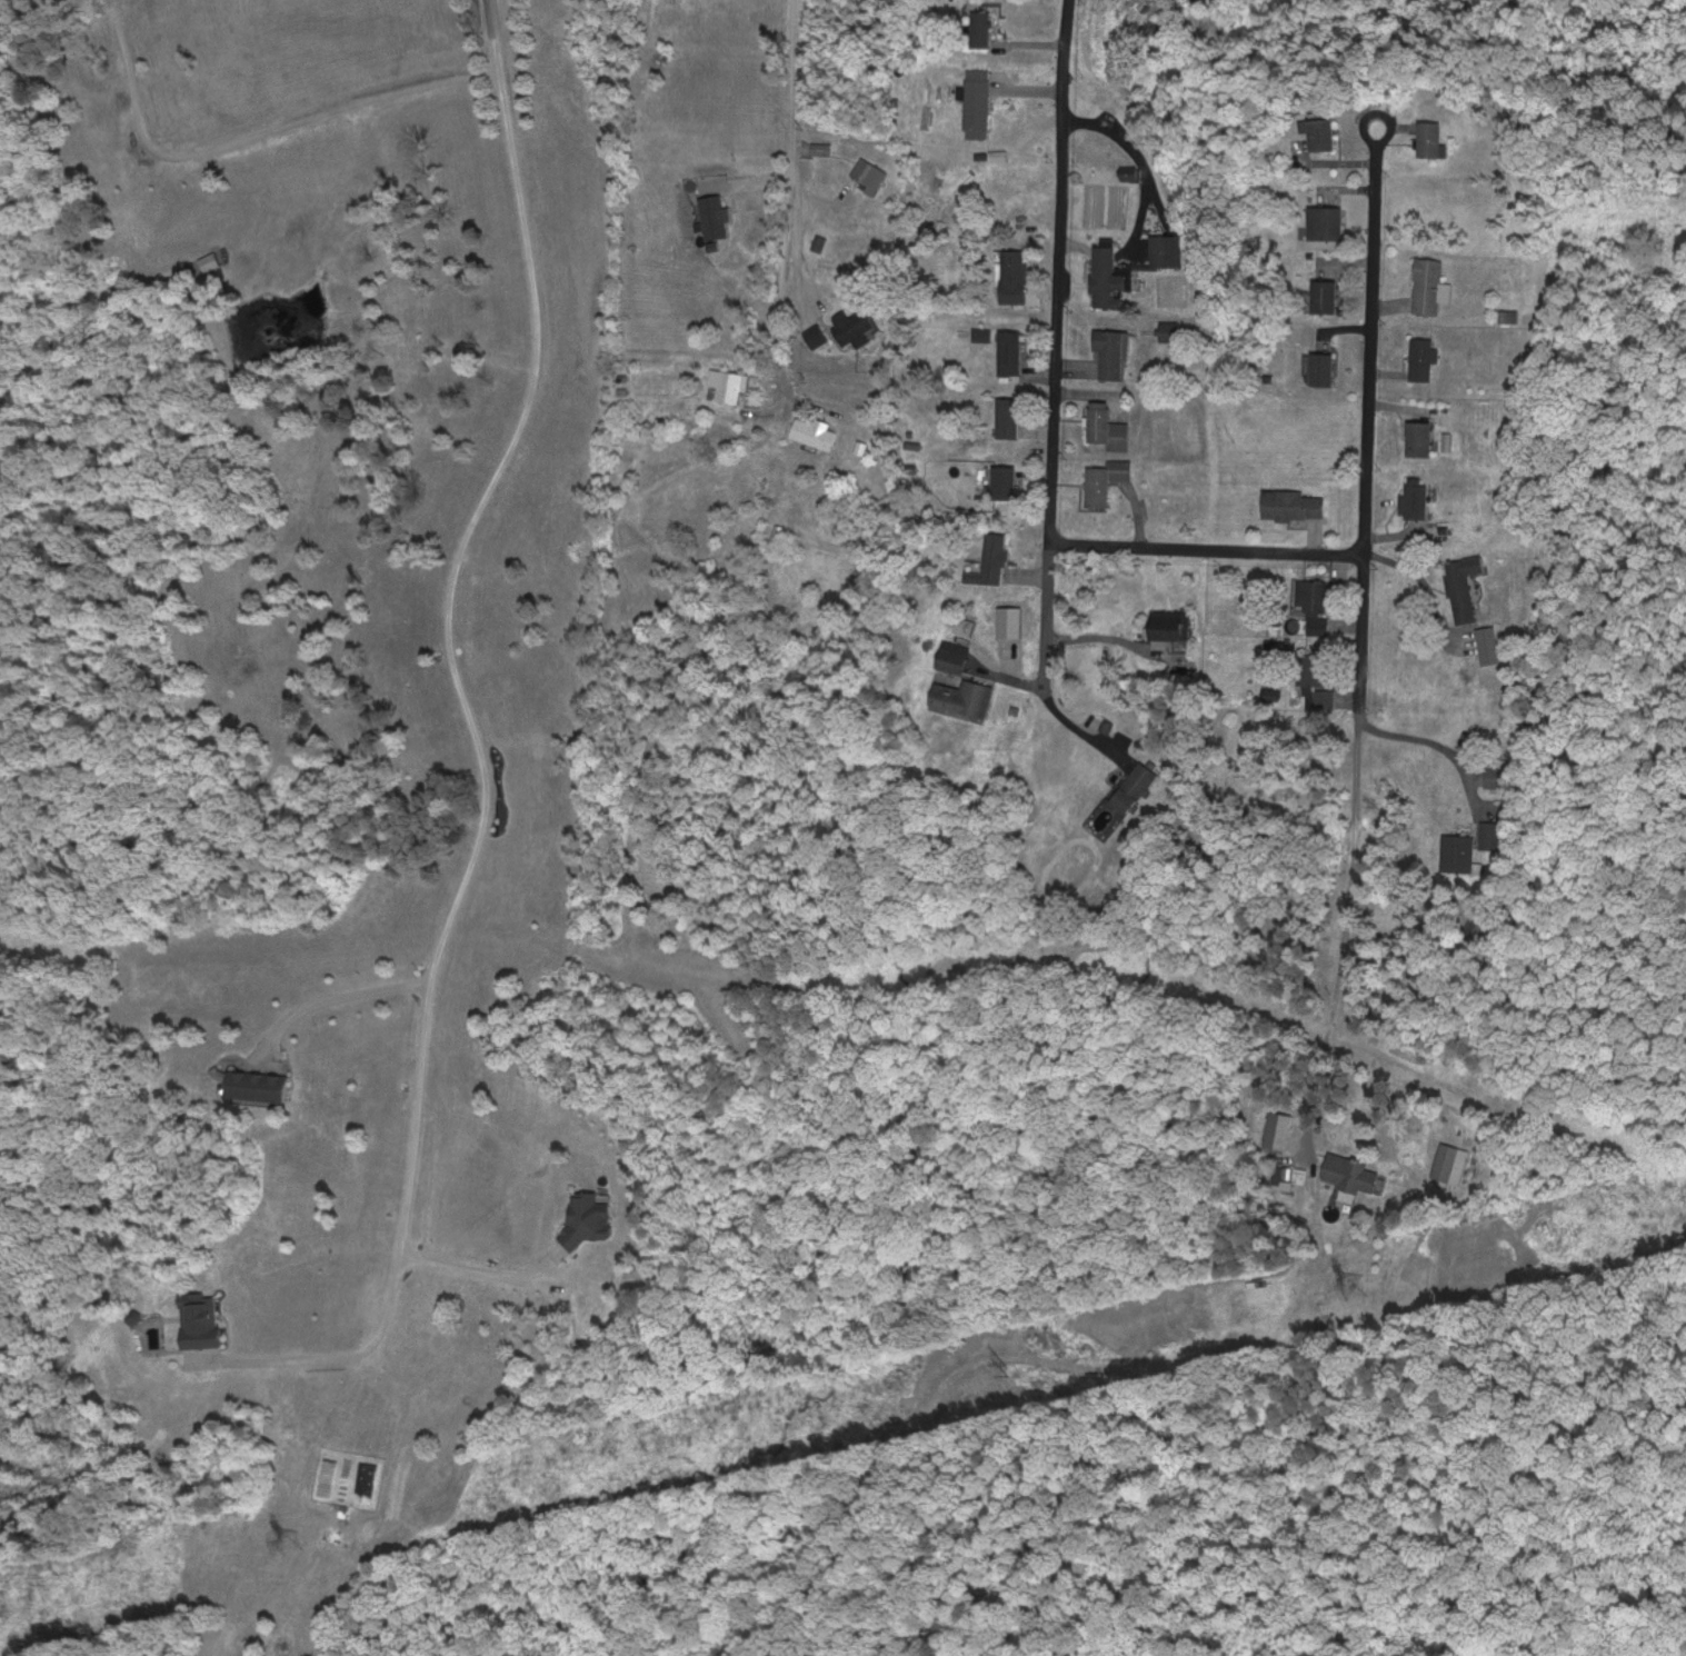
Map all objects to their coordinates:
building: (980, 27)
building: (976, 102)
building: (1318, 131)
building: (1429, 138)
building: (821, 148)
building: (869, 172)
road: (785, 200)
building: (1325, 221)
building: (1165, 250)
building: (1012, 276)
building: (1109, 276)
building: (1428, 286)
building: (1324, 296)
building: (852, 328)
building: (1169, 330)
building: (816, 336)
road: (1054, 346)
building: (1010, 352)
building: (1113, 352)
building: (1421, 359)
building: (1321, 368)
building: (728, 383)
building: (1007, 417)
building: (1106, 426)
building: (814, 431)
building: (1419, 438)
building: (1106, 480)
building: (1005, 481)
building: (1414, 501)
building: (1293, 505)
road: (1204, 548)
building: (992, 560)
building: (1461, 586)
building: (1315, 603)
building: (1169, 624)
building: (964, 626)
road: (1356, 636)
building: (952, 656)
road: (452, 661)
building: (1314, 670)
building: (964, 697)
building: (1495, 777)
building: (1120, 799)
building: (1489, 835)
building: (1456, 852)
building: (1470, 927)
road: (328, 999)
building: (258, 1086)
building: (1450, 1163)
building: (1298, 1175)
building: (1350, 1175)
building: (589, 1216)
road: (477, 1274)
power tower: (1350, 1284)
building: (199, 1319)
road: (311, 1356)
power tower: (290, 1538)

